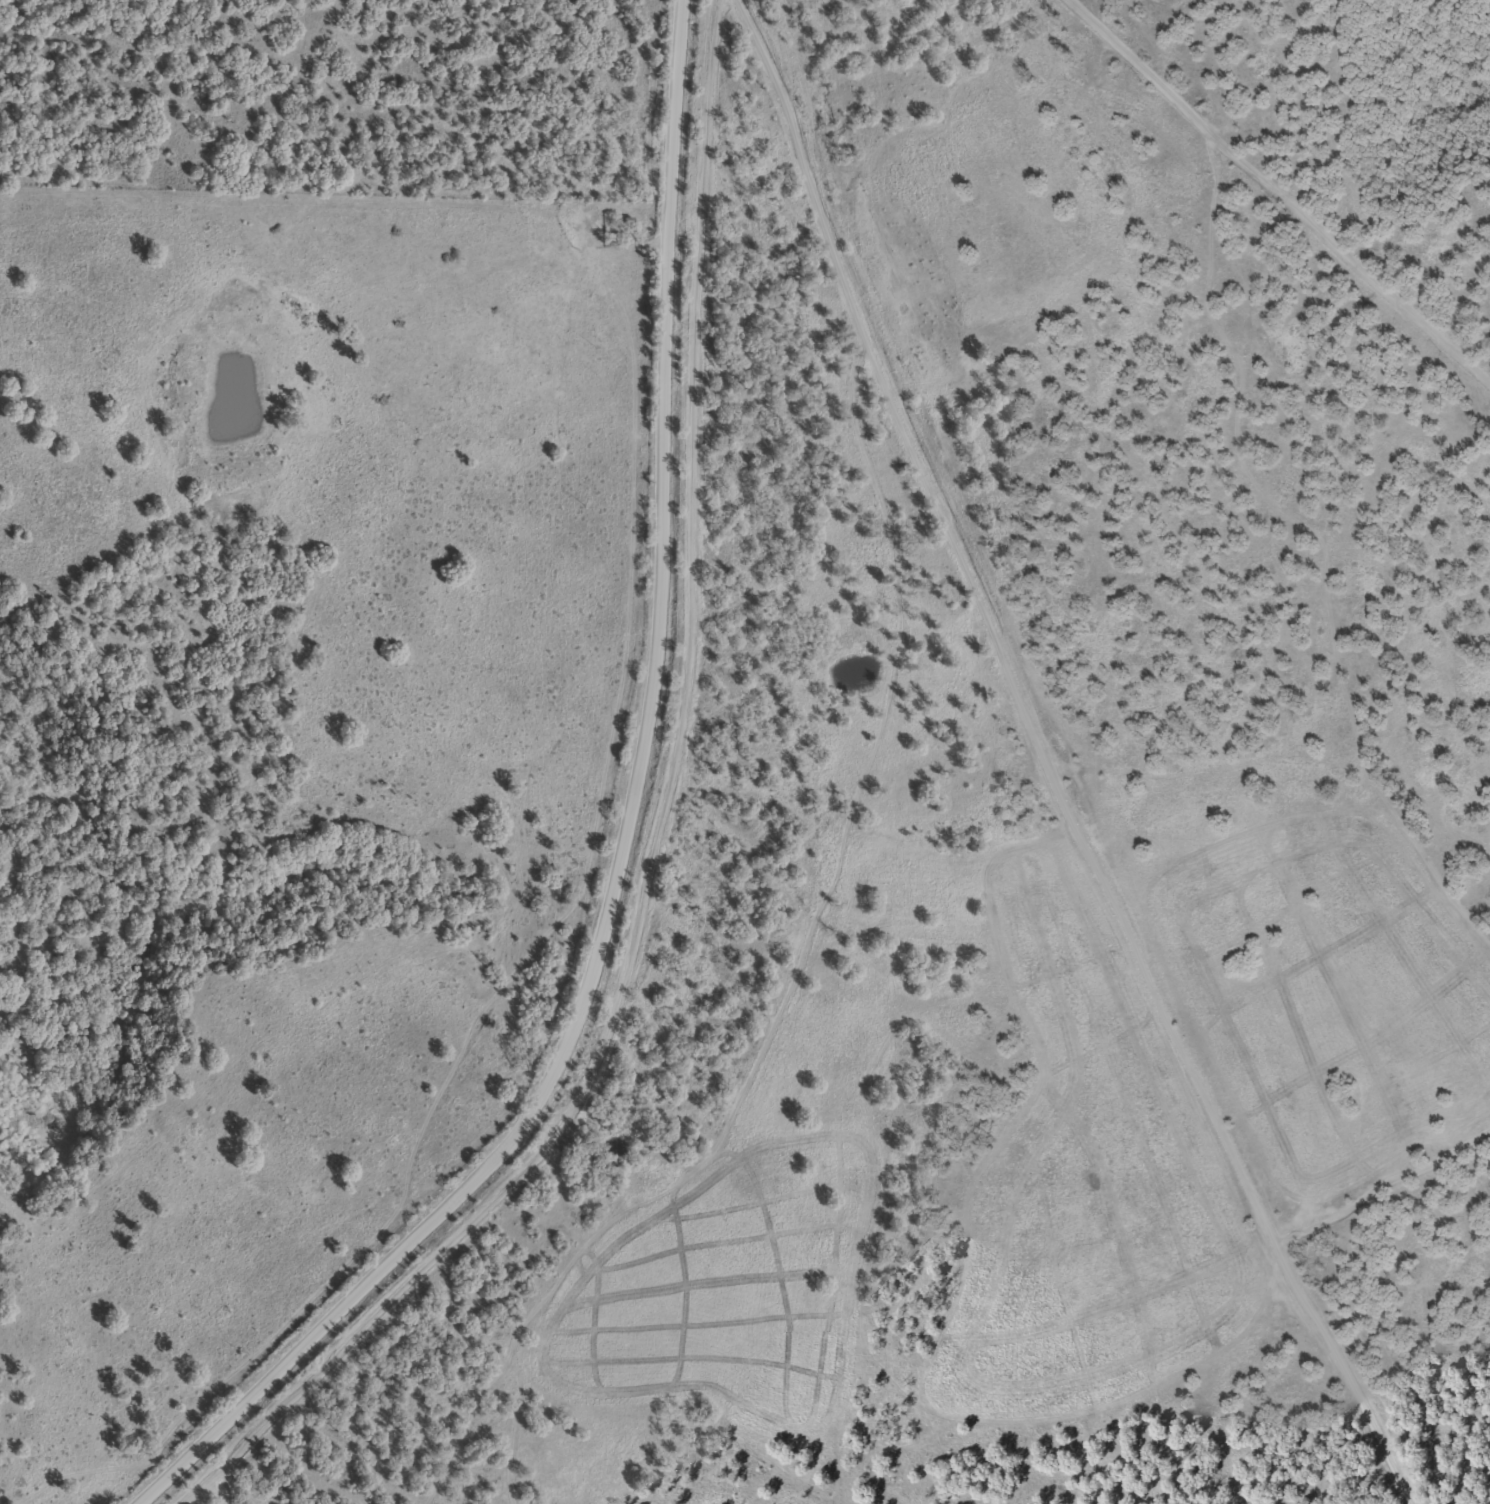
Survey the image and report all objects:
road: (1278, 194)
road: (1058, 761)
road: (628, 841)
road: (533, 942)

